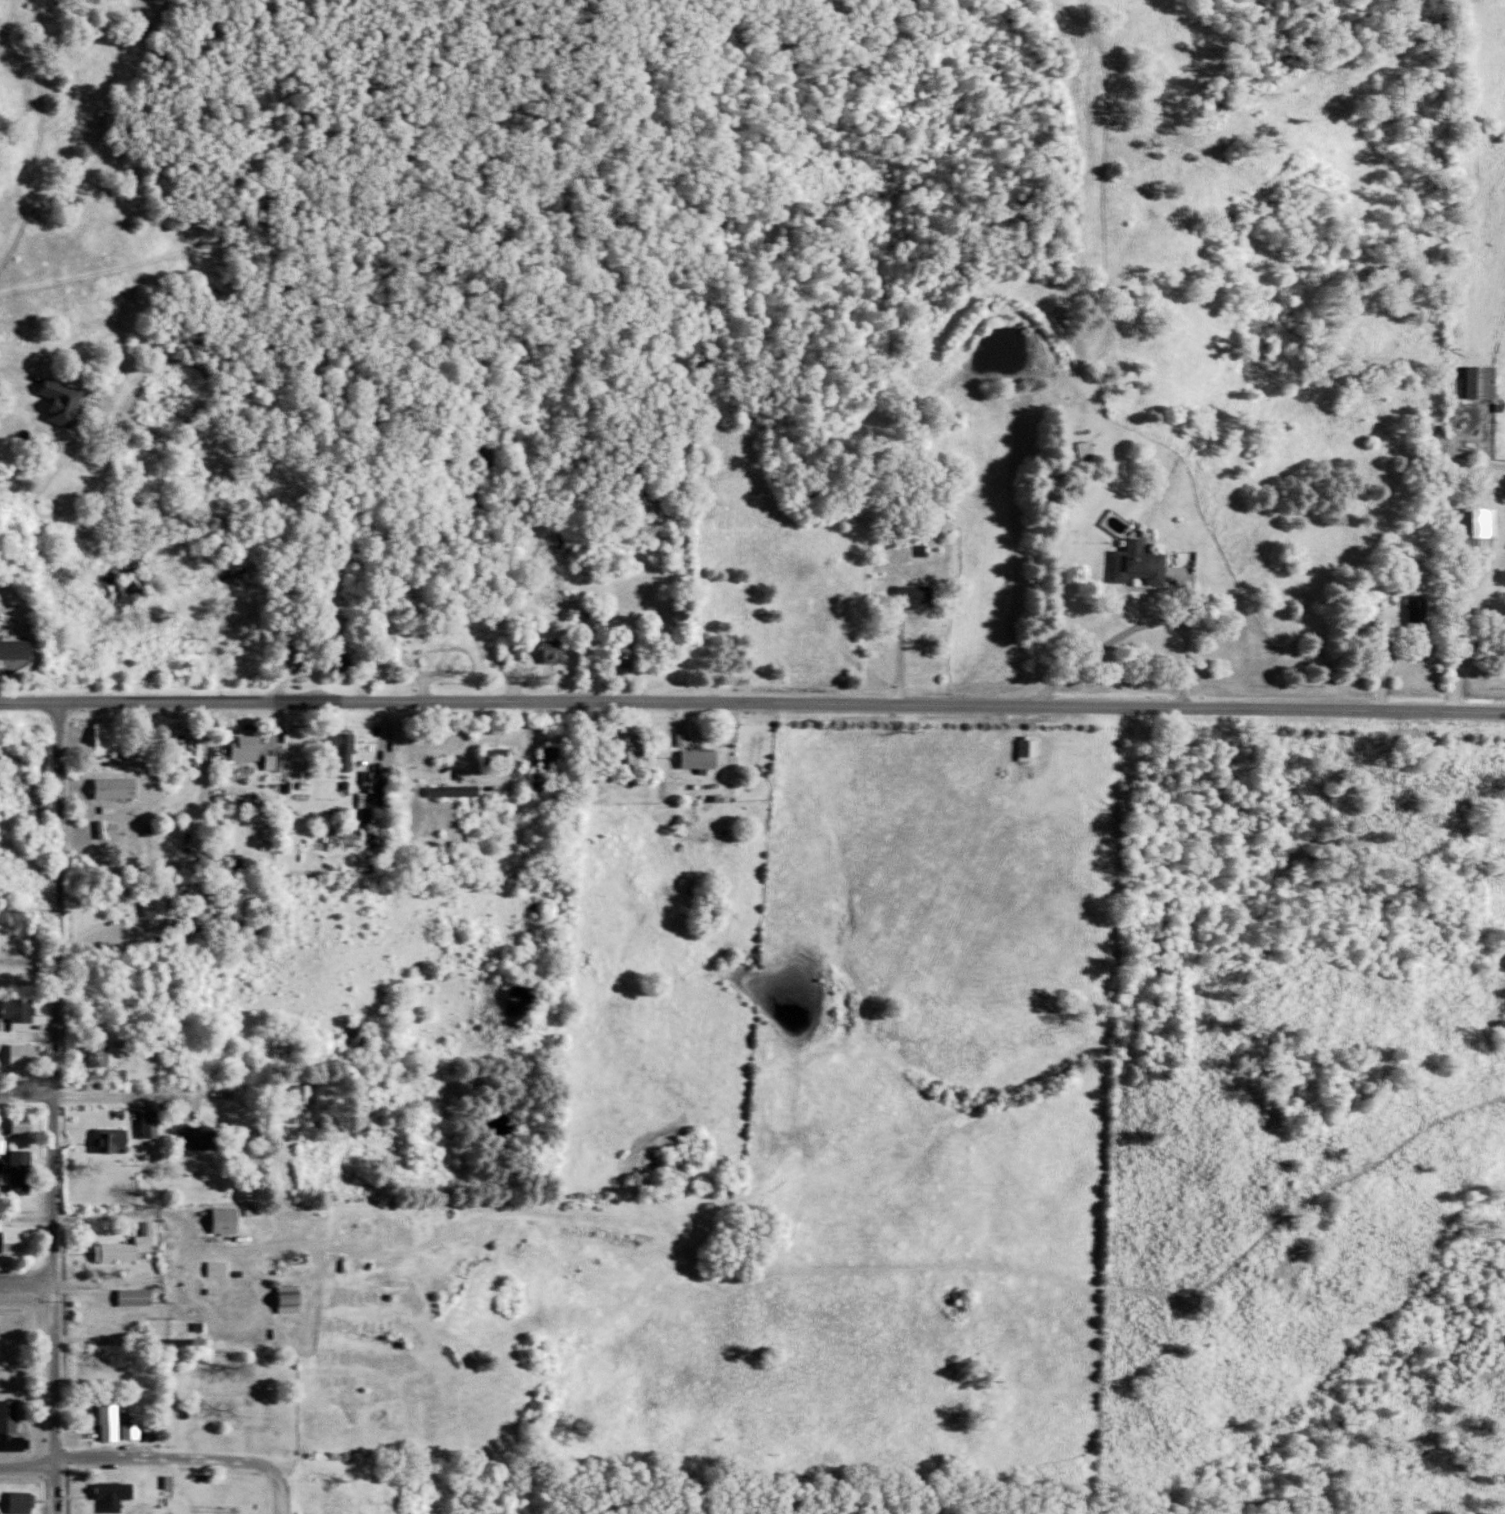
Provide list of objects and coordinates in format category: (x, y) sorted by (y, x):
road: (25, 30)
building: (1486, 381)
building: (69, 401)
building: (1087, 452)
building: (1483, 522)
building: (1142, 563)
road: (1460, 578)
building: (920, 596)
building: (1421, 612)
road: (1136, 632)
road: (359, 642)
building: (19, 649)
building: (518, 651)
building: (559, 651)
building: (629, 658)
road: (752, 709)
road: (521, 724)
building: (688, 739)
building: (112, 740)
building: (634, 744)
building: (253, 748)
building: (1032, 749)
building: (350, 750)
building: (557, 755)
building: (501, 756)
building: (705, 760)
road: (731, 768)
building: (544, 781)
road: (207, 782)
road: (491, 786)
building: (122, 788)
building: (460, 791)
building: (372, 805)
building: (353, 833)
building: (275, 834)
building: (236, 862)
building: (161, 906)
road: (33, 912)
building: (25, 1013)
building: (2, 1025)
building: (30, 1055)
building: (99, 1056)
road: (355, 1090)
building: (309, 1095)
road: (95, 1097)
road: (58, 1106)
building: (28, 1125)
building: (156, 1125)
building: (202, 1139)
building: (116, 1140)
building: (24, 1173)
road: (110, 1214)
building: (232, 1221)
building: (21, 1242)
building: (133, 1247)
building: (224, 1268)
road: (146, 1280)
road: (28, 1281)
building: (142, 1298)
building: (115, 1421)
building: (136, 1429)
road: (185, 1458)
road: (29, 1465)
building: (120, 1494)
building: (27, 1502)
road: (286, 1507)

